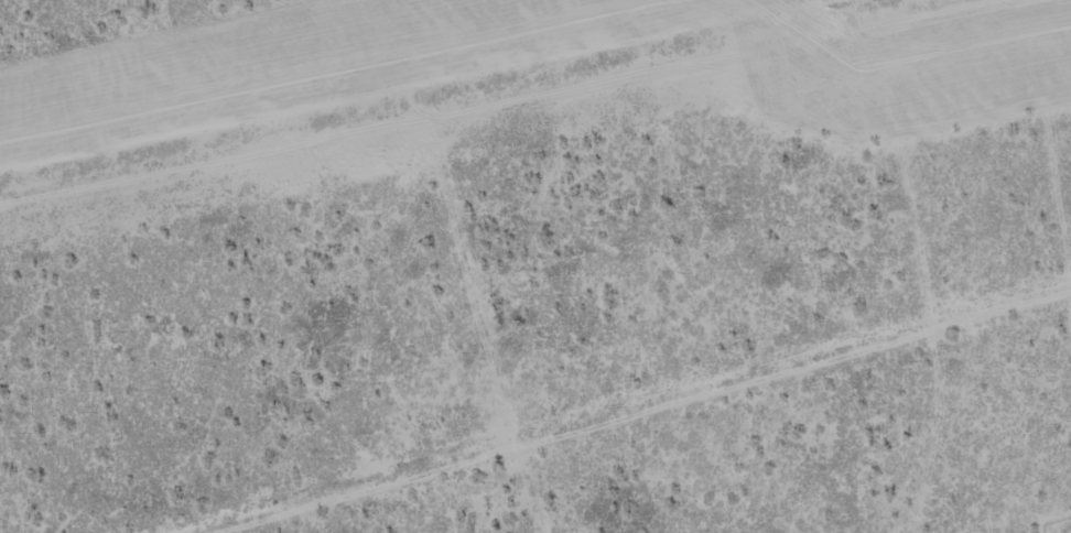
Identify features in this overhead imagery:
solar farm: (1058, 525)

